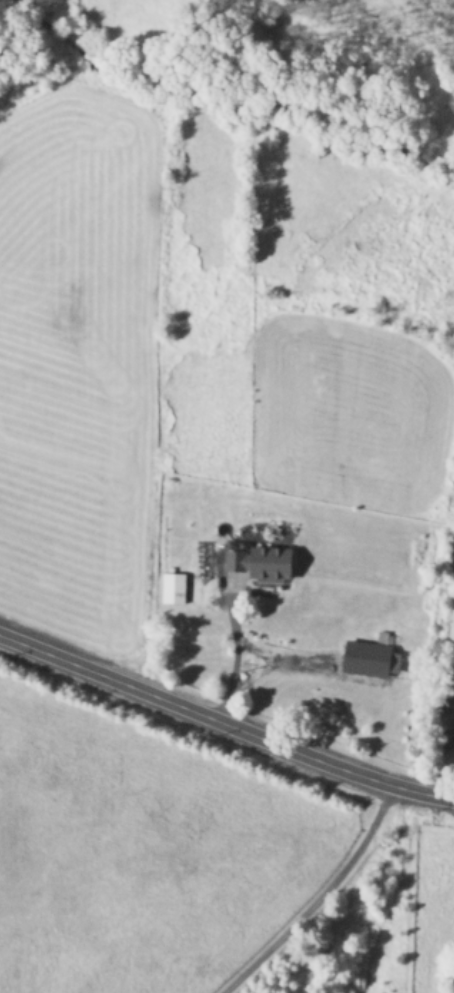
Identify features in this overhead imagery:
crop: (222, 487)
building: (257, 562)
building: (171, 588)
building: (369, 655)
road: (273, 656)
road: (232, 665)
building: (447, 688)
road: (224, 723)
building: (448, 734)
road: (322, 898)

